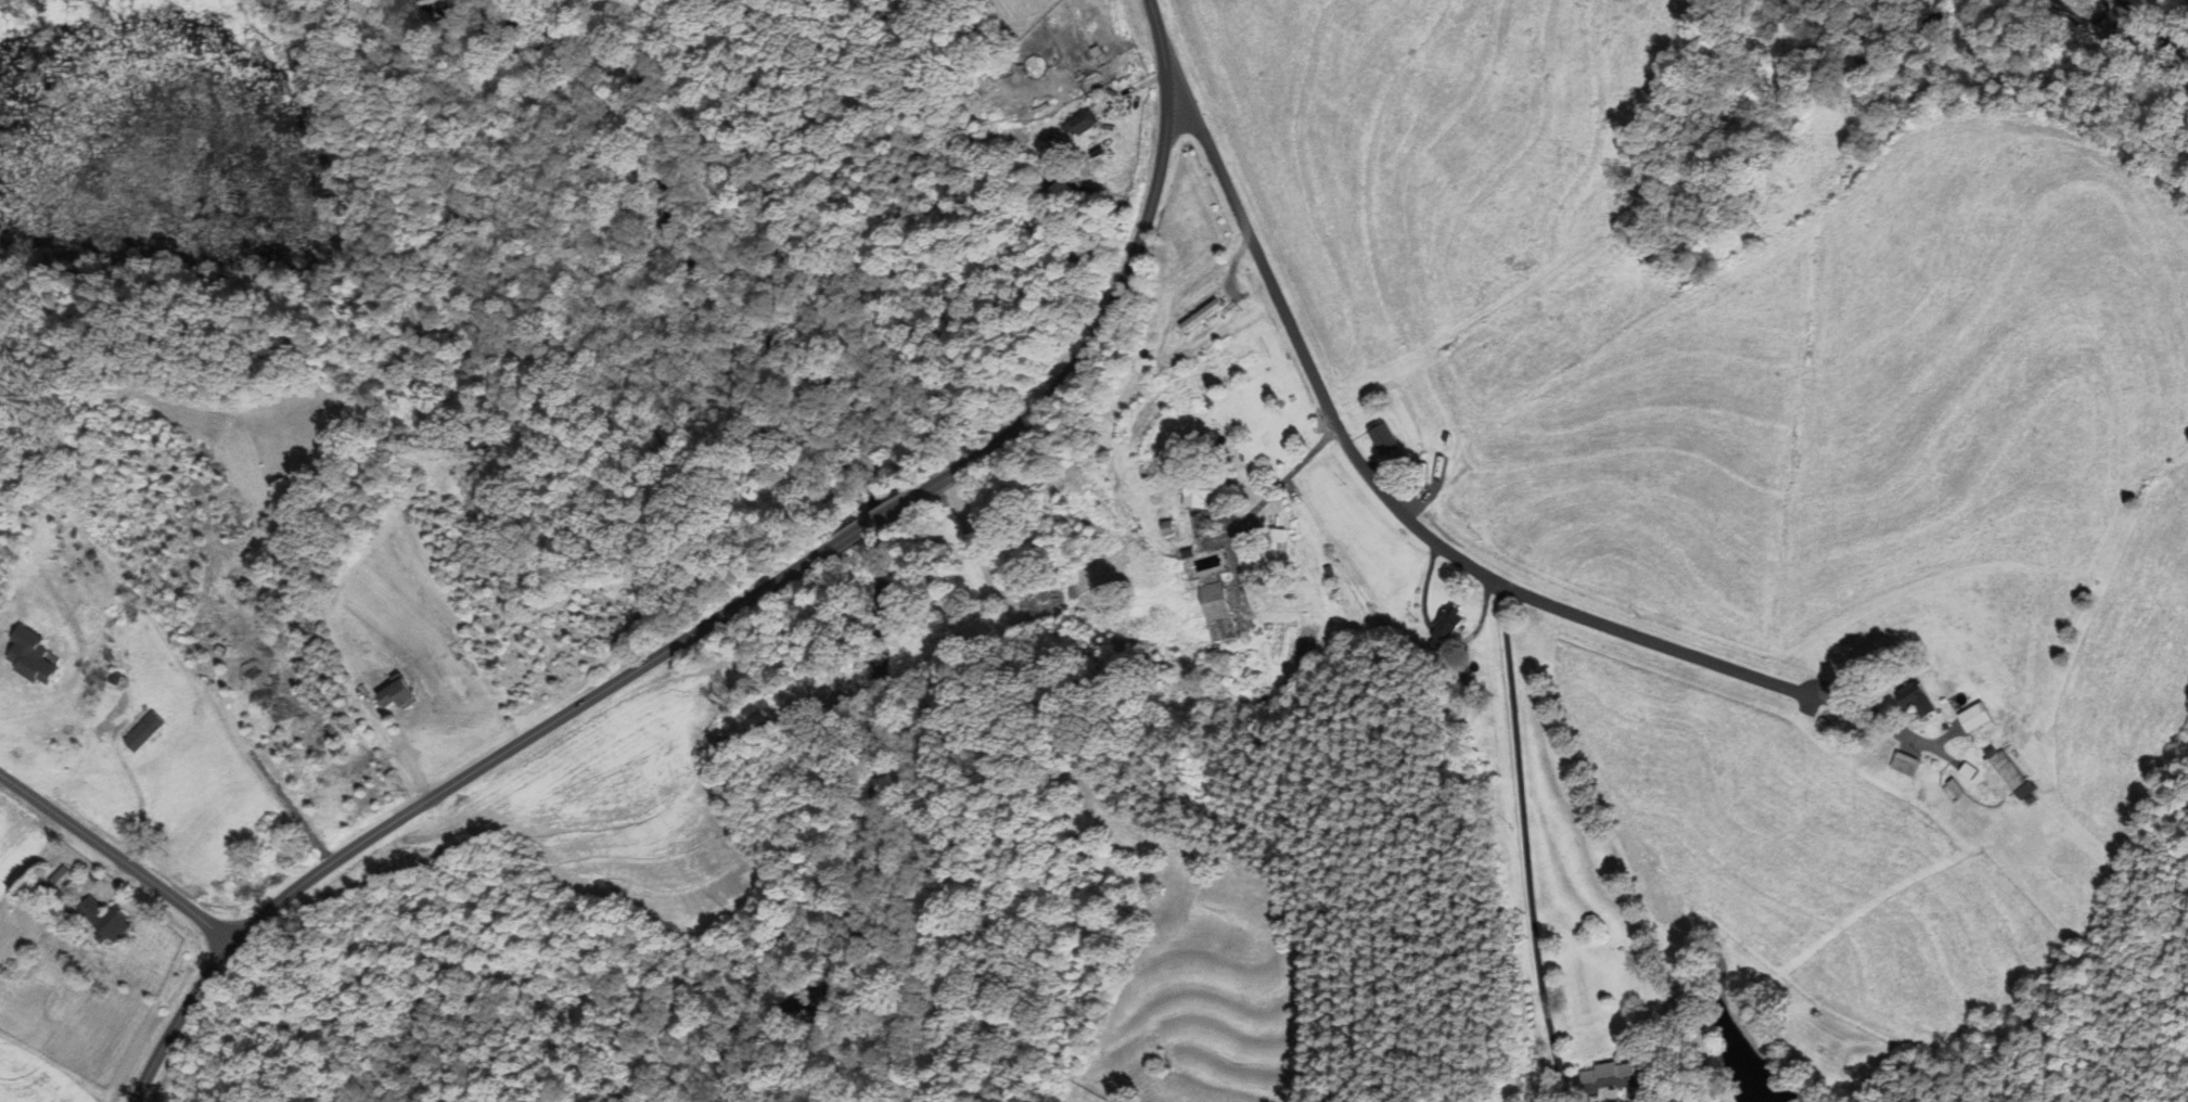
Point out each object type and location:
road: (1161, 43)
building: (1078, 124)
building: (1194, 316)
road: (1101, 324)
building: (1381, 436)
building: (1205, 491)
road: (1390, 499)
road: (877, 520)
building: (1279, 535)
building: (1274, 556)
building: (1446, 622)
road: (2, 625)
building: (400, 695)
building: (1915, 697)
building: (1971, 716)
building: (145, 731)
building: (2008, 773)
road: (135, 786)
road: (446, 787)
building: (1952, 791)
road: (1125, 821)
road: (1525, 837)
road: (117, 857)
building: (104, 917)
building: (1605, 1078)

